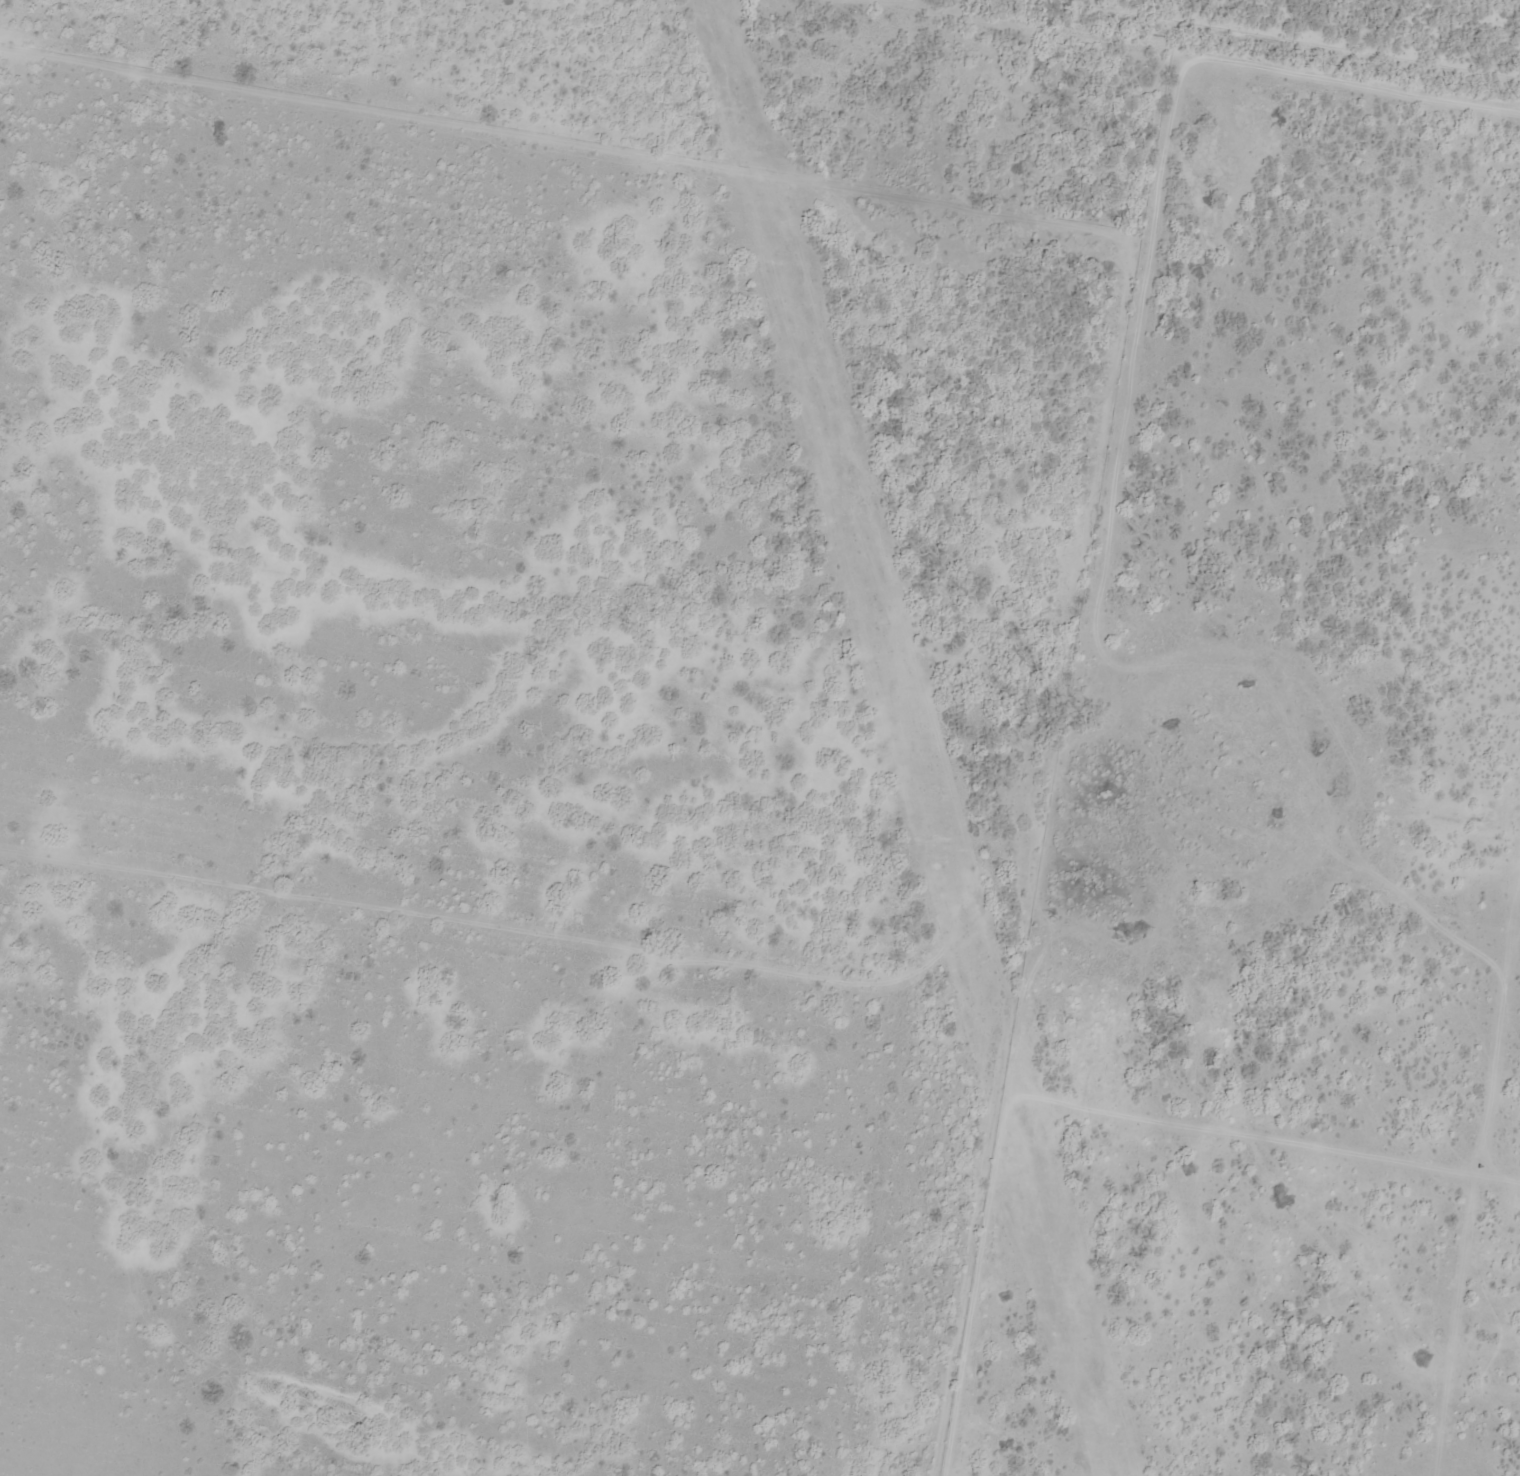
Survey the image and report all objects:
road: (1302, 38)

